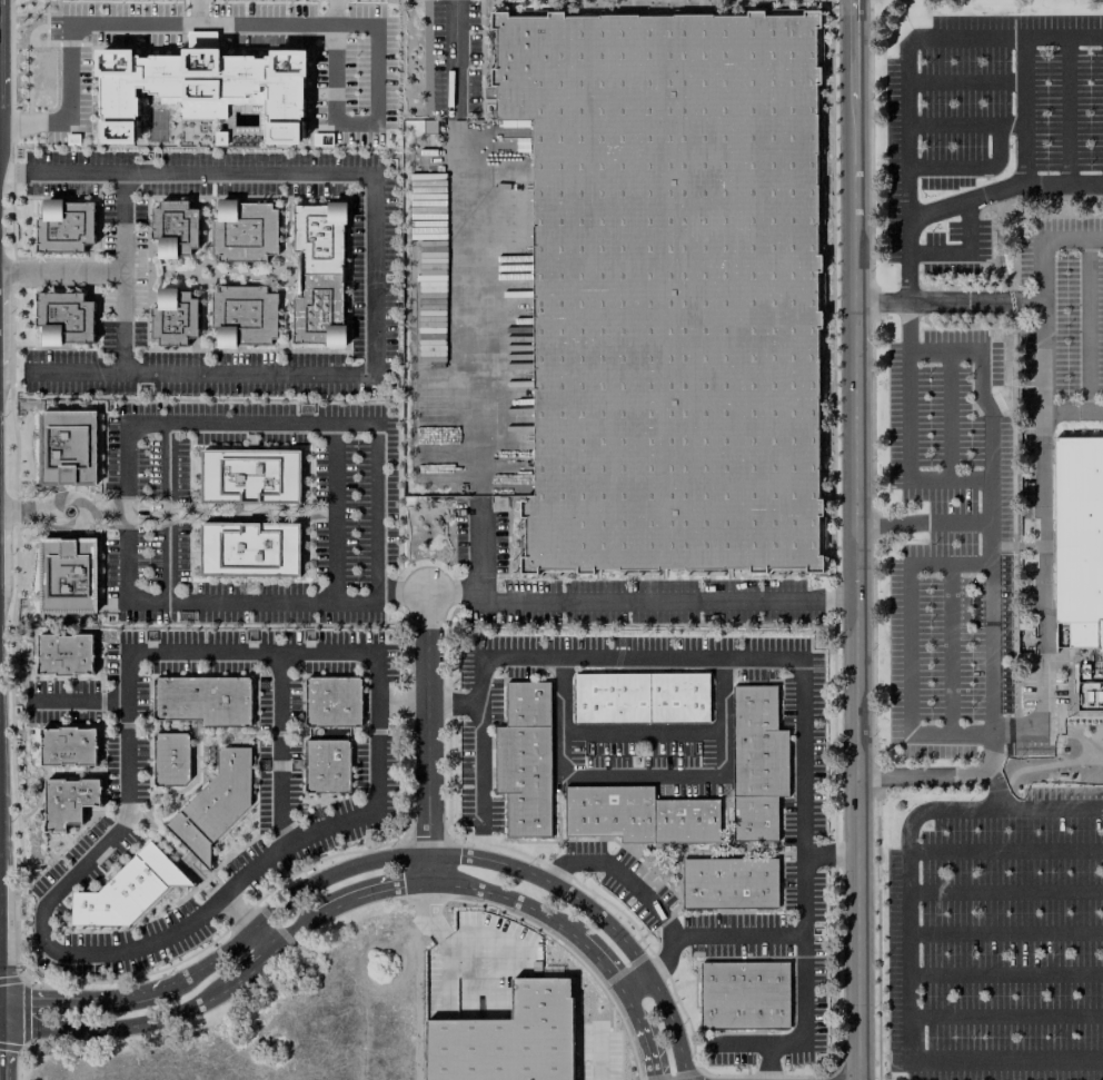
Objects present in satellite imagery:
road: (191, 13)
road: (115, 26)
road: (915, 38)
road: (368, 43)
road: (456, 59)
road: (964, 81)
building: (201, 86)
road: (1022, 109)
road: (1065, 110)
road: (964, 125)
parking lot: (981, 126)
road: (971, 167)
road: (73, 171)
road: (32, 184)
road: (222, 185)
road: (336, 185)
road: (348, 199)
road: (964, 201)
road: (213, 204)
road: (288, 208)
building: (64, 226)
building: (173, 228)
building: (244, 230)
road: (1043, 240)
road: (152, 247)
road: (963, 252)
road: (135, 258)
road: (203, 264)
road: (280, 266)
road: (61, 273)
road: (14, 274)
road: (158, 274)
building: (319, 274)
road: (245, 275)
road: (374, 275)
building: (670, 288)
road: (152, 298)
road: (948, 301)
road: (146, 310)
road: (464, 311)
road: (284, 315)
building: (244, 316)
building: (173, 317)
building: (63, 318)
parking lot: (1061, 319)
road: (1086, 325)
road: (907, 326)
road: (212, 343)
road: (31, 359)
road: (220, 361)
road: (335, 363)
road: (76, 371)
road: (982, 400)
road: (1073, 410)
road: (1013, 415)
road: (948, 416)
building: (67, 447)
building: (250, 476)
road: (59, 501)
road: (103, 511)
road: (167, 511)
road: (377, 511)
road: (27, 512)
fountain: (68, 512)
road: (335, 513)
road: (958, 521)
road: (892, 522)
building: (1079, 538)
road: (856, 539)
road: (1043, 543)
road: (1037, 545)
road: (1003, 546)
building: (249, 549)
parking lot: (953, 555)
building: (68, 575)
road: (401, 591)
road: (453, 595)
road: (619, 597)
road: (907, 648)
road: (950, 648)
building: (64, 654)
road: (177, 654)
road: (160, 675)
road: (61, 677)
road: (266, 684)
road: (801, 685)
road: (1090, 693)
road: (301, 695)
road: (137, 696)
building: (640, 697)
building: (203, 700)
road: (76, 701)
road: (78, 701)
road: (101, 701)
building: (332, 701)
road: (289, 702)
road: (400, 703)
road: (1072, 717)
road: (130, 724)
road: (90, 725)
road: (107, 725)
road: (404, 725)
building: (196, 729)
road: (1076, 729)
road: (376, 731)
road: (643, 731)
road: (262, 733)
road: (286, 733)
building: (302, 733)
road: (351, 737)
road: (427, 737)
road: (233, 740)
building: (67, 746)
road: (279, 752)
road: (137, 753)
building: (208, 754)
road: (1059, 755)
road: (197, 757)
building: (525, 759)
building: (171, 760)
building: (756, 762)
road: (480, 763)
building: (327, 766)
road: (63, 769)
road: (203, 771)
road: (149, 774)
road: (77, 775)
road: (642, 776)
road: (938, 776)
road: (995, 786)
road: (301, 790)
building: (155, 800)
building: (68, 801)
building: (215, 803)
road: (308, 806)
road: (16, 807)
road: (950, 810)
road: (96, 811)
building: (638, 815)
road: (319, 816)
road: (102, 824)
road: (281, 830)
road: (19, 844)
road: (122, 845)
road: (1005, 850)
road: (829, 852)
road: (380, 859)
road: (223, 860)
building: (36, 864)
road: (237, 866)
road: (92, 875)
building: (728, 883)
building: (127, 890)
road: (1005, 892)
road: (357, 896)
road: (188, 910)
road: (665, 920)
road: (1005, 933)
road: (264, 939)
parking lot: (997, 939)
road: (663, 955)
road: (1005, 974)
road: (634, 983)
building: (743, 994)
road: (1006, 1015)
building: (508, 1033)
road: (942, 1061)
road: (766, 1062)

